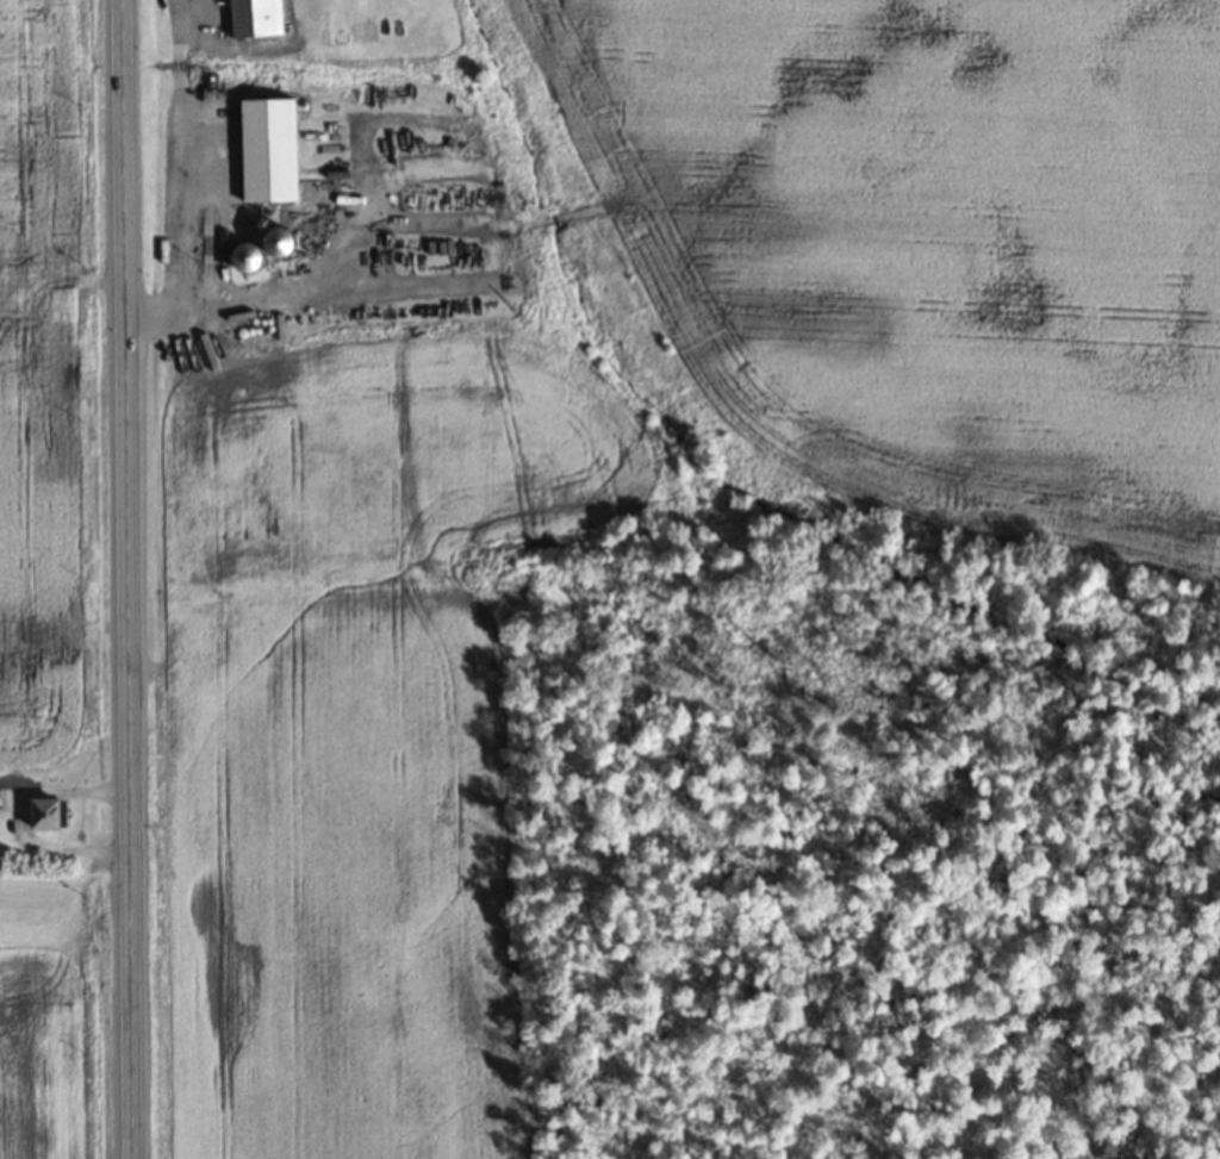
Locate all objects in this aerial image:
building: (251, 18)
building: (263, 149)
crop: (56, 392)
crop: (615, 468)
road: (126, 579)
building: (4, 795)
building: (42, 814)
park: (57, 914)
crop: (58, 1057)

